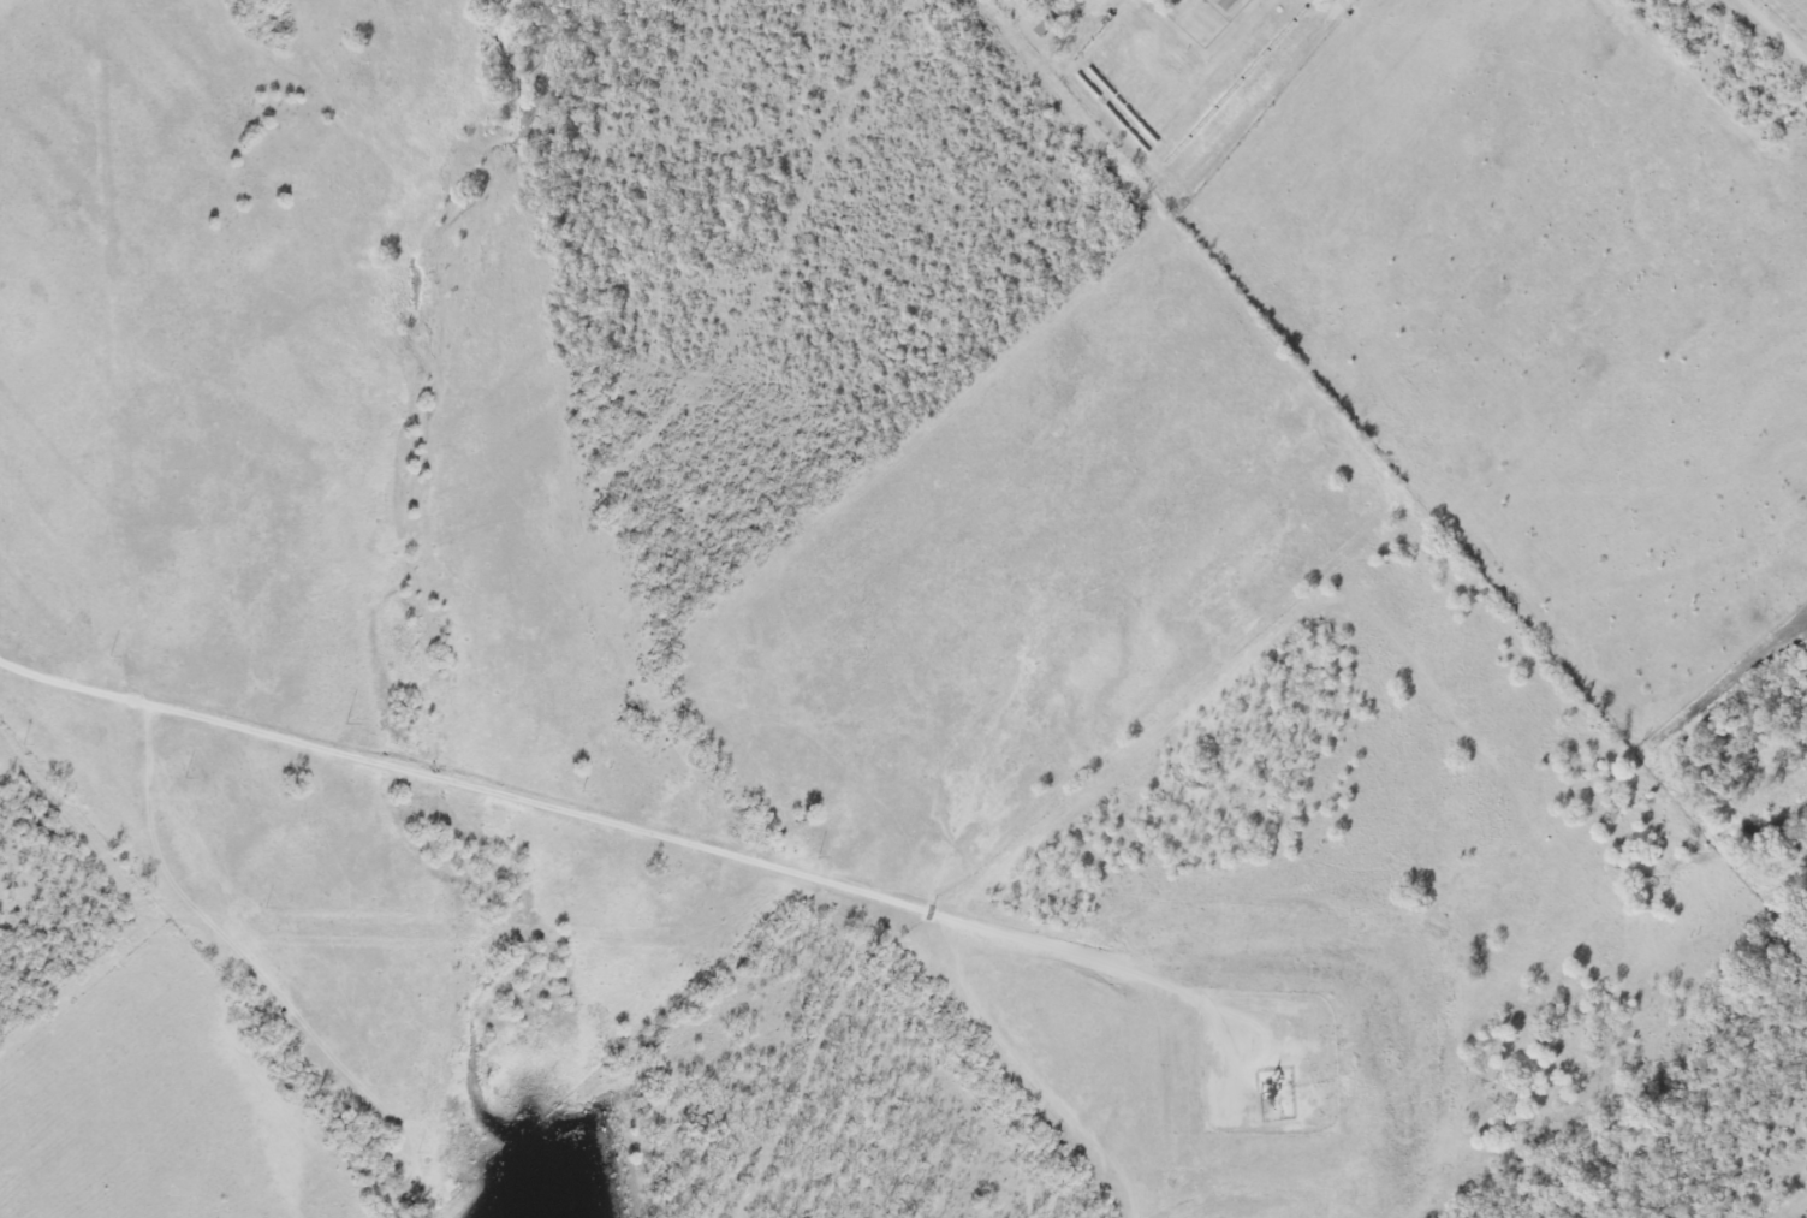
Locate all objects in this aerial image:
road: (599, 826)

